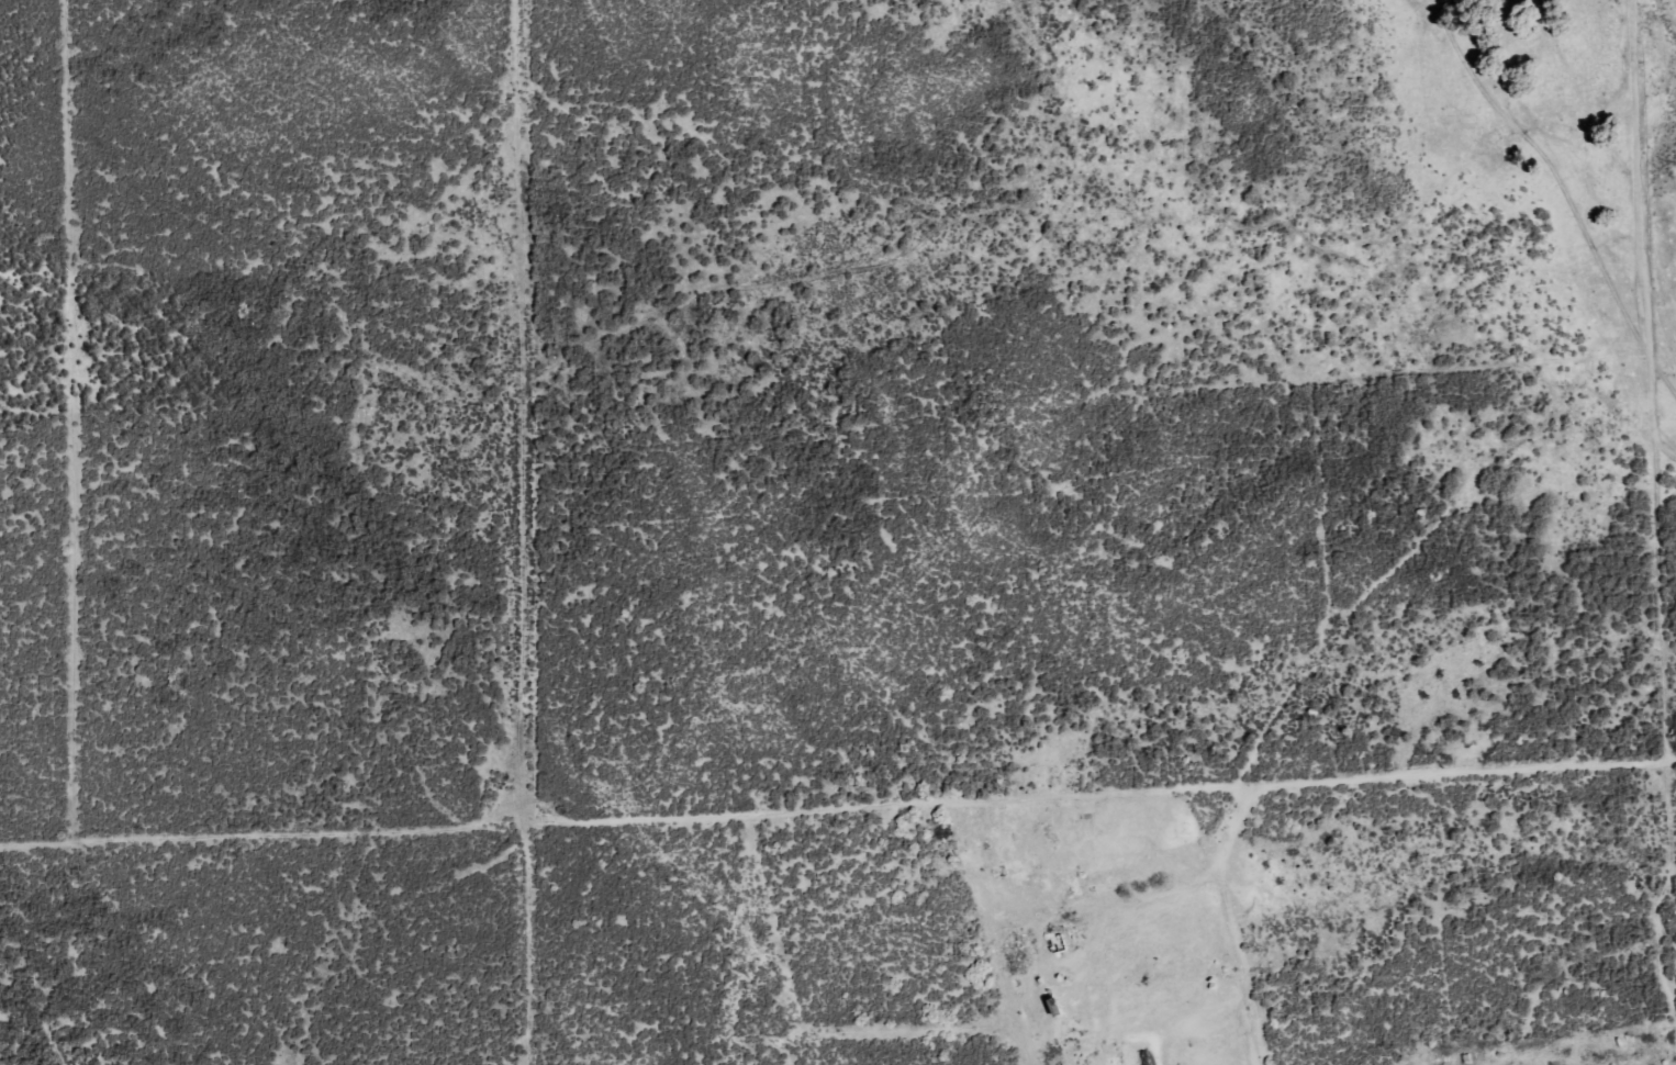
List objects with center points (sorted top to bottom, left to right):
road: (1642, 216)
road: (1665, 444)
road: (1661, 597)
road: (839, 809)

